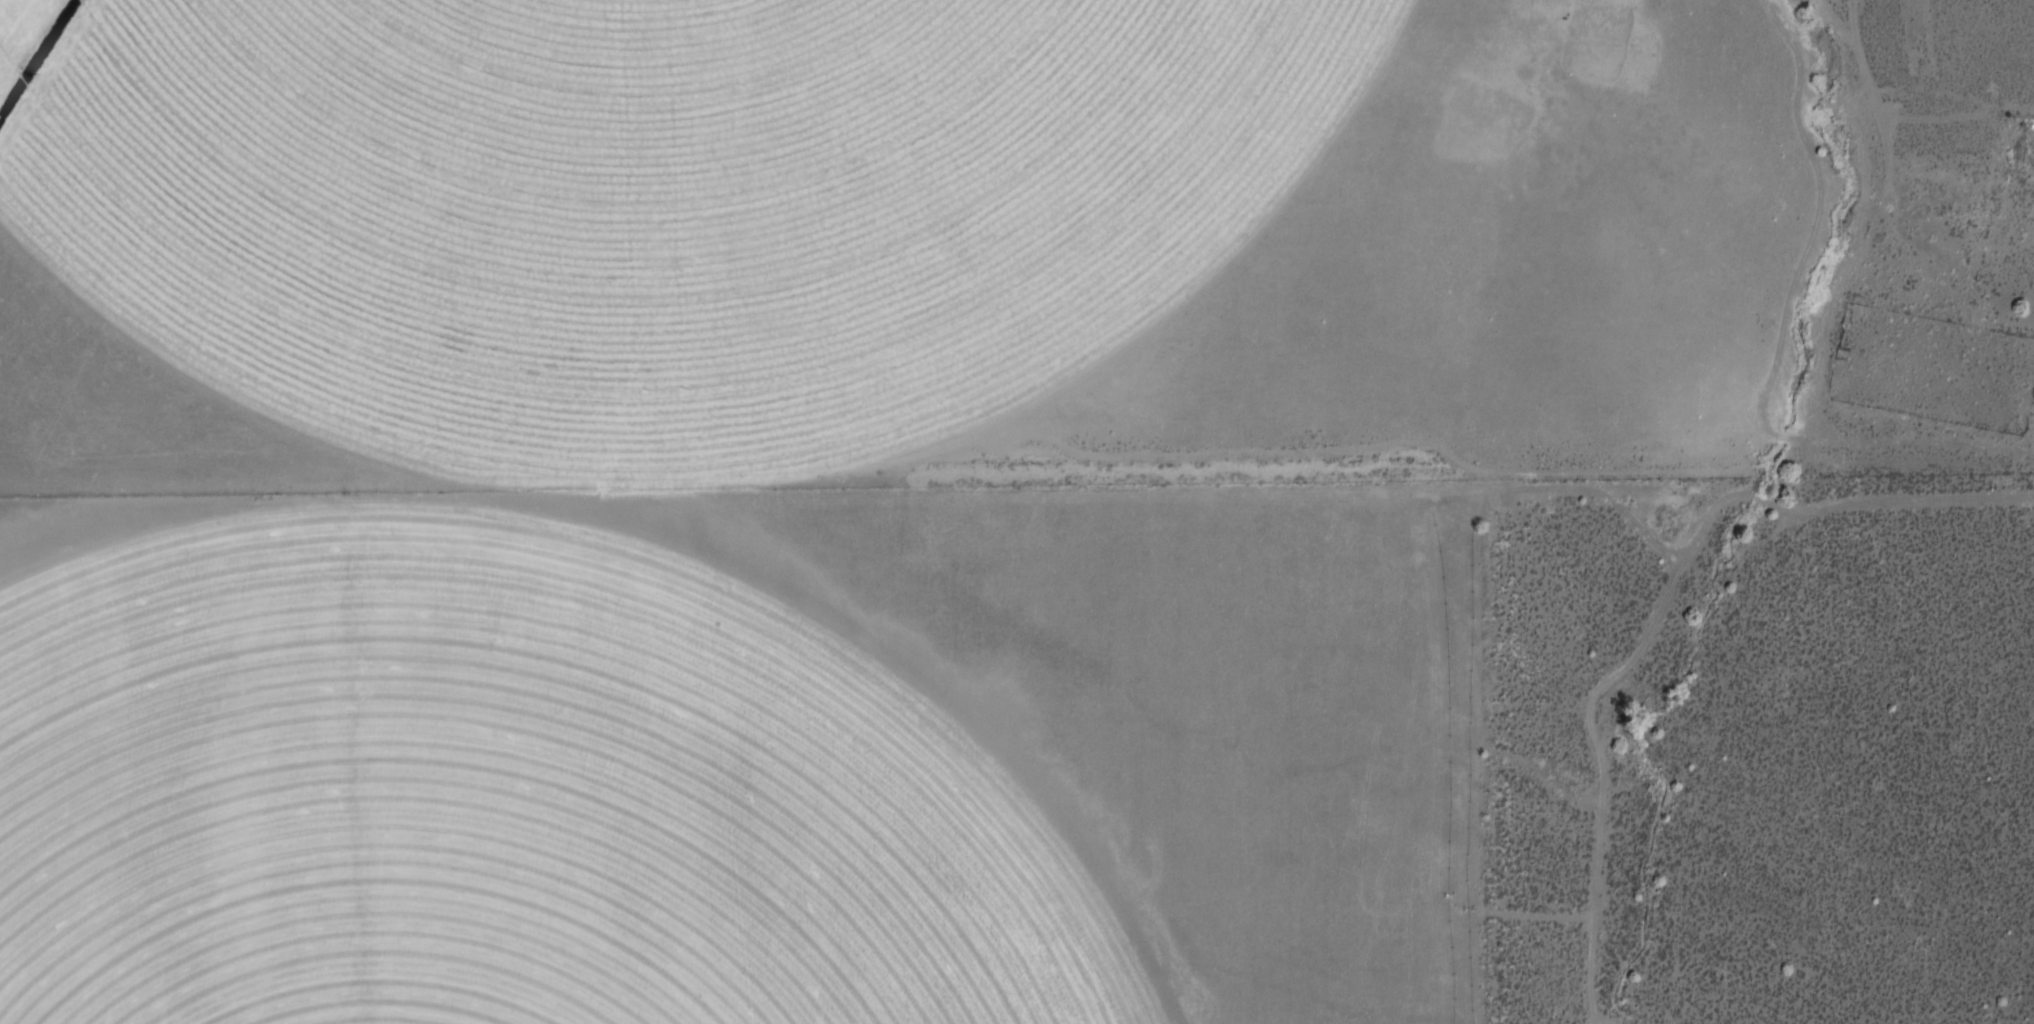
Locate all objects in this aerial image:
crop: (702, 536)
road: (1653, 604)

